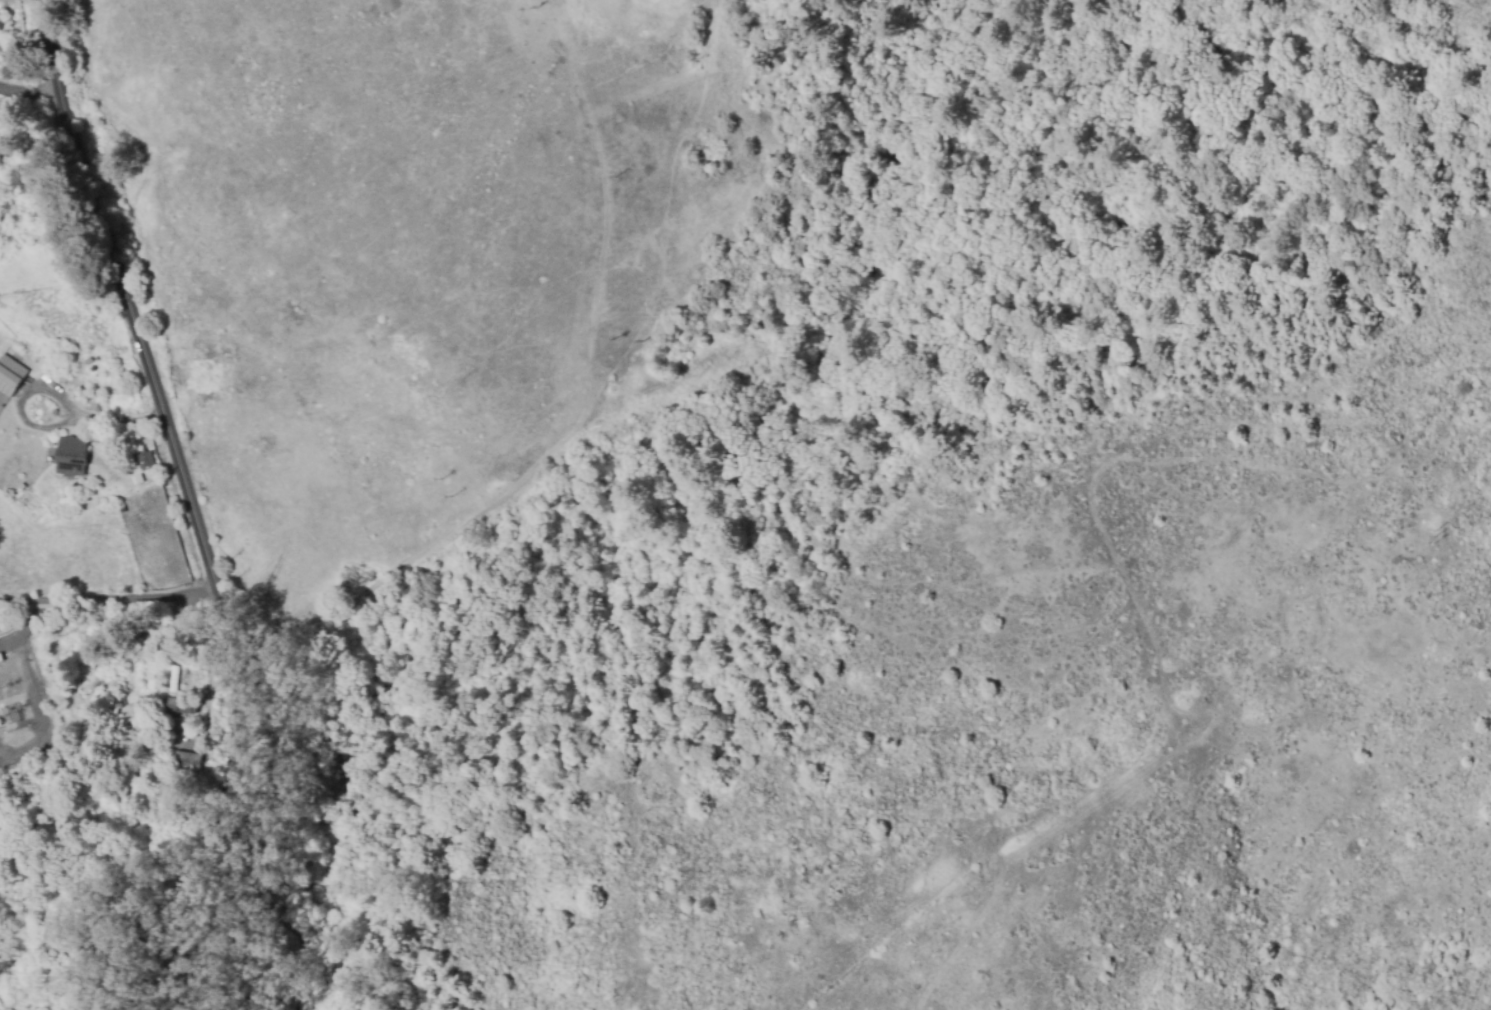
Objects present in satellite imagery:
building: (10, 376)
building: (70, 457)
building: (145, 460)
road: (184, 504)
road: (105, 602)
power substation: (22, 703)

